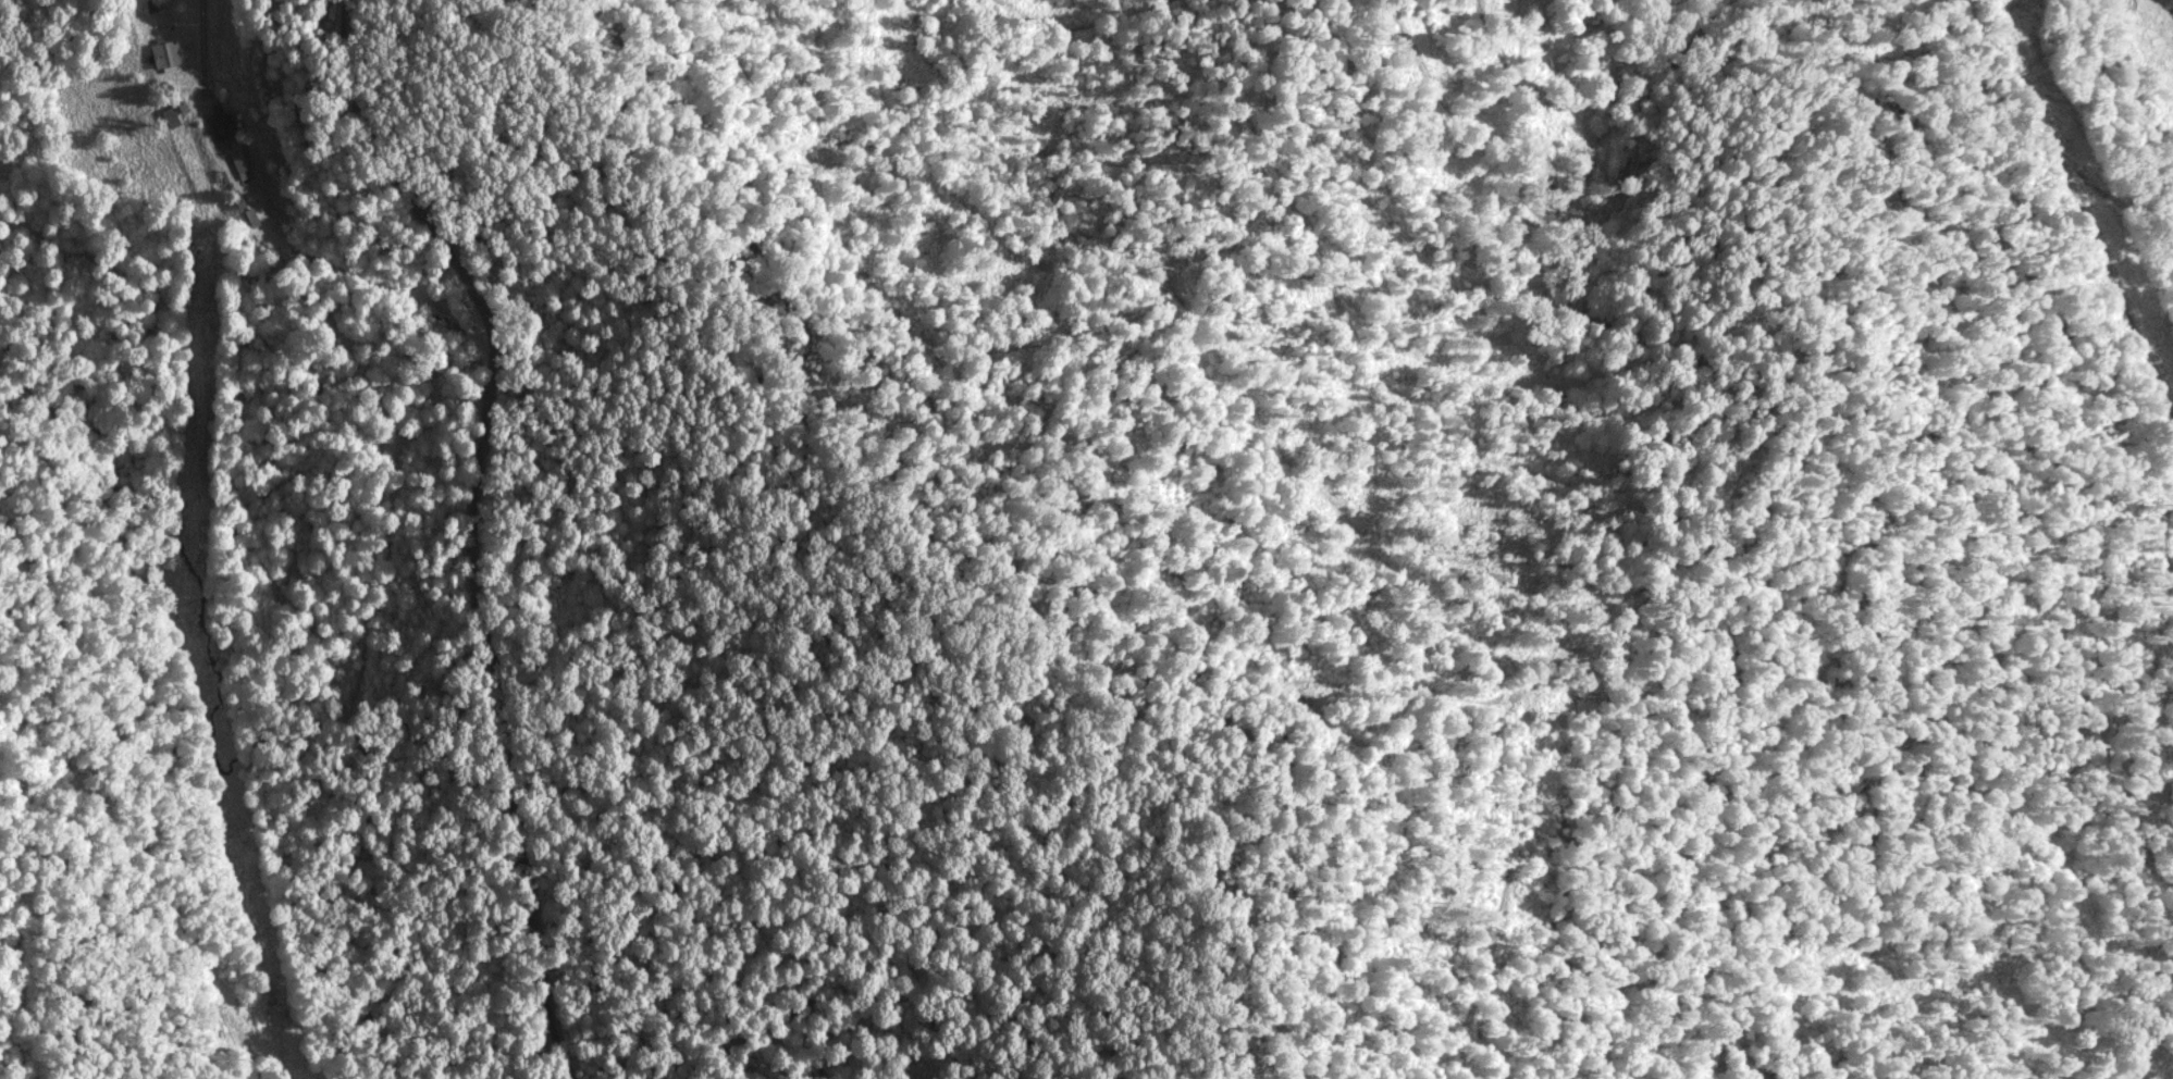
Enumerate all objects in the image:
building: (164, 53)
building: (222, 127)
building: (239, 164)
road: (443, 534)

